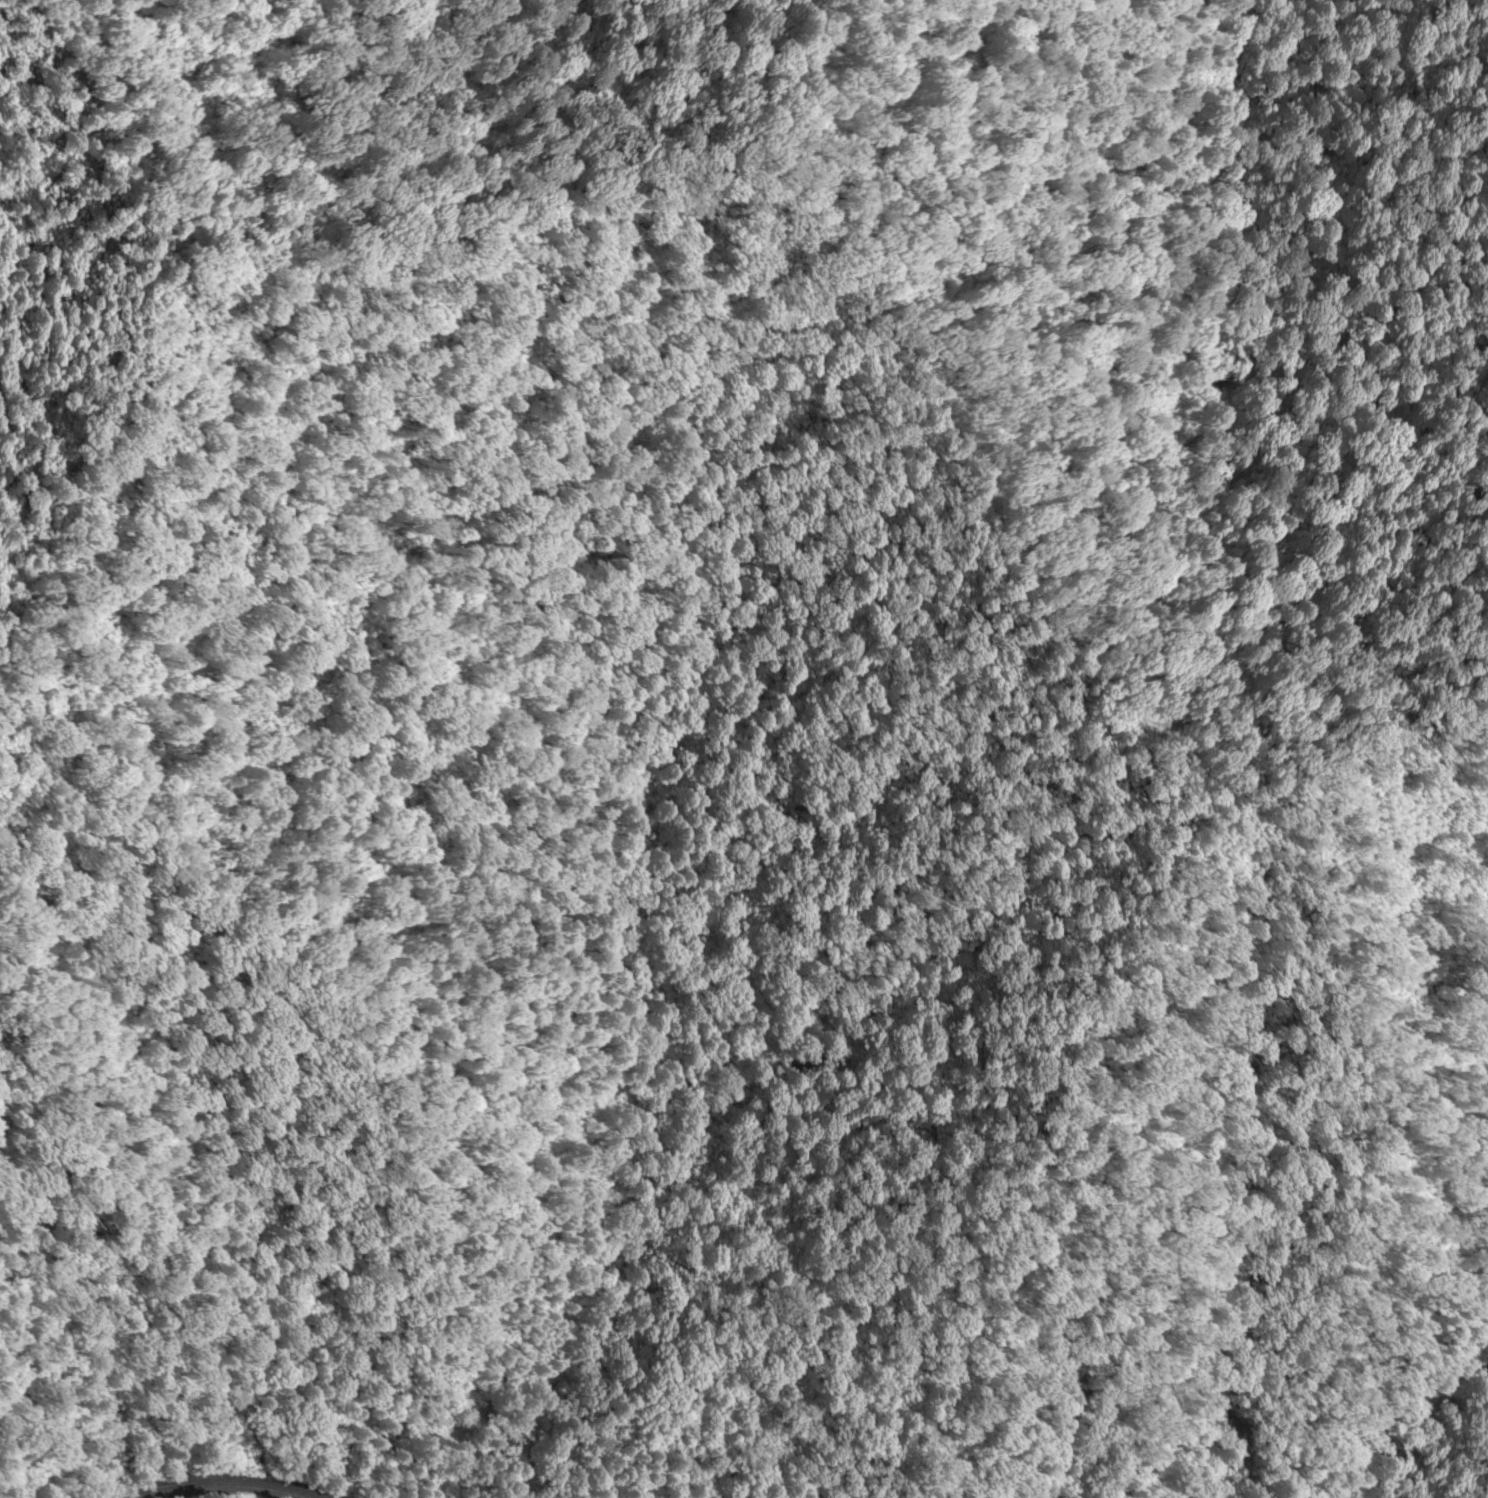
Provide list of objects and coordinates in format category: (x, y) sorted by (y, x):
railway: (215, 1481)

